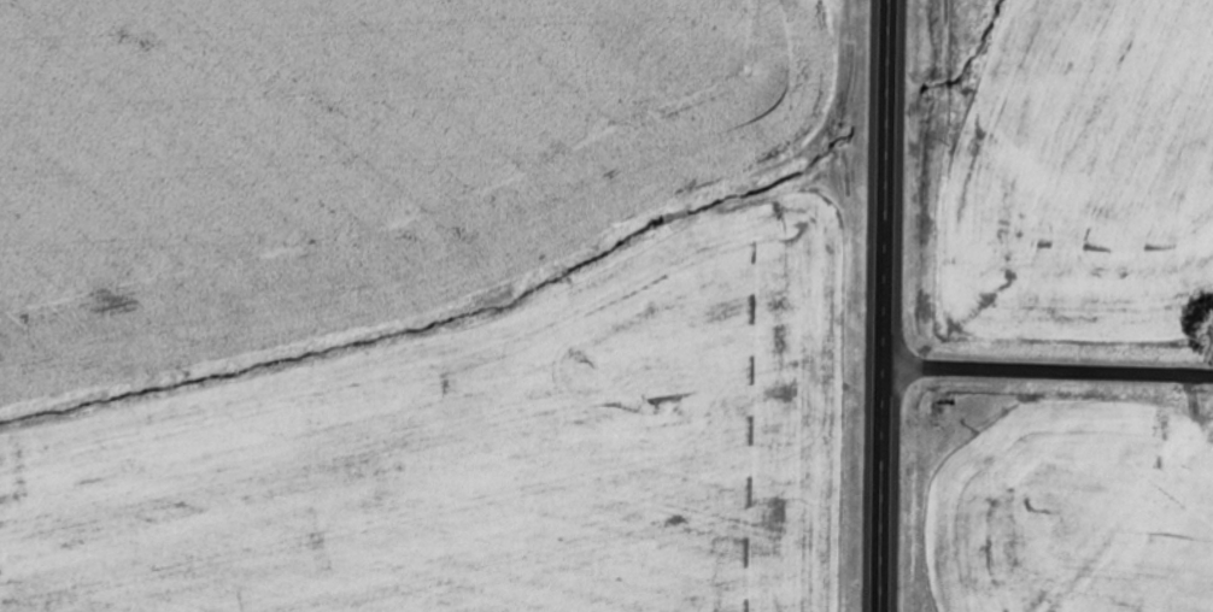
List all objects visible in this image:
road: (884, 305)
road: (1048, 372)

